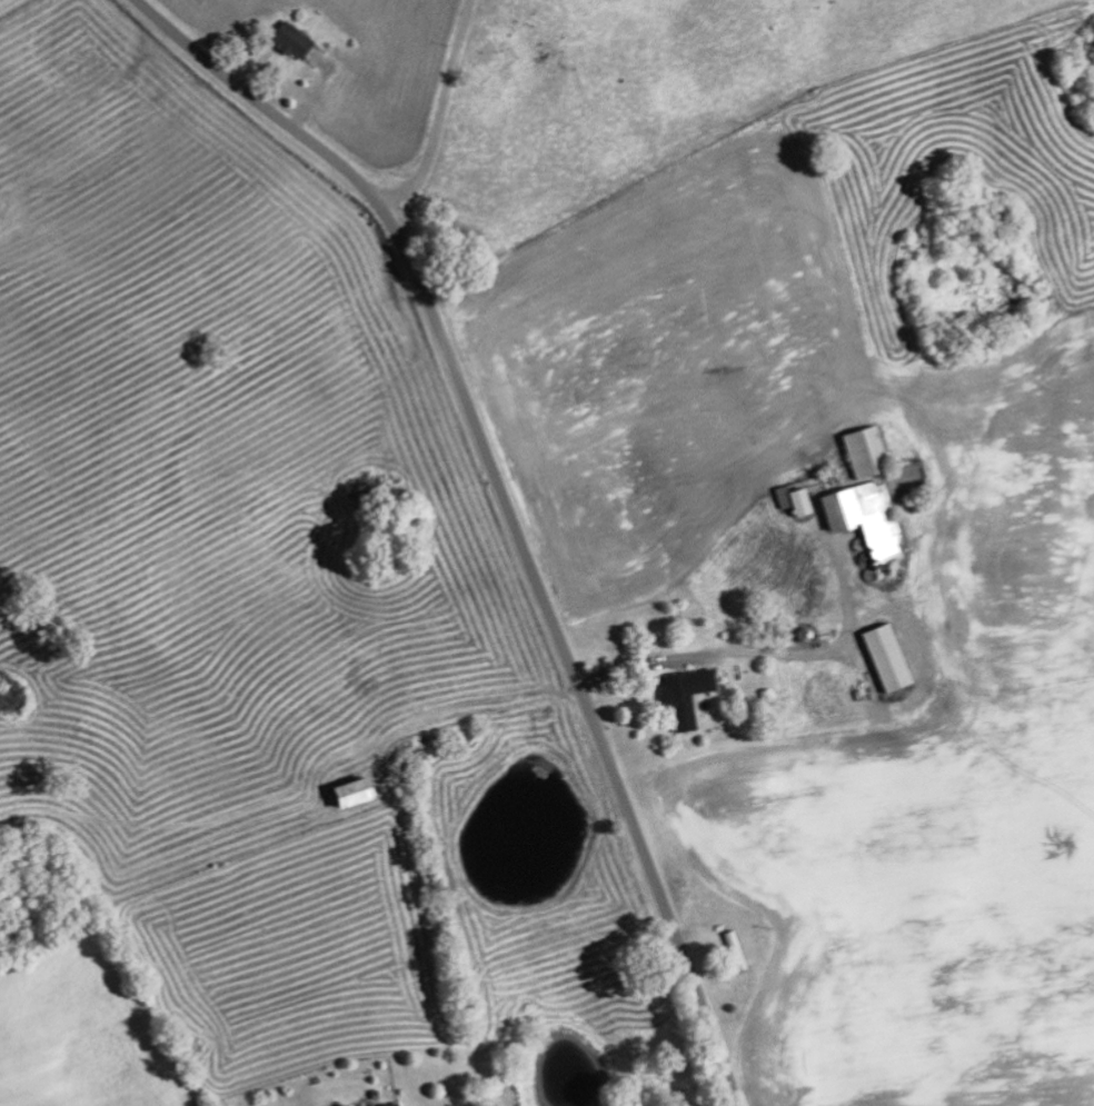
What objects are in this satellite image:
building: (288, 39)
road: (445, 116)
building: (859, 450)
building: (787, 499)
road: (505, 502)
building: (861, 518)
building: (881, 656)
building: (680, 696)
building: (342, 790)
building: (732, 949)
building: (384, 1104)

